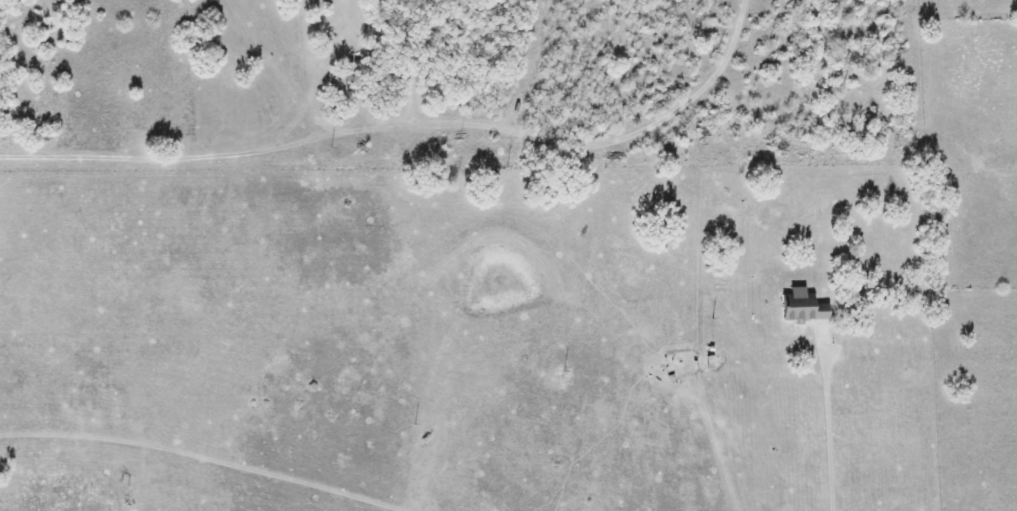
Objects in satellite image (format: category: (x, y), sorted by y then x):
building: (351, 76)

